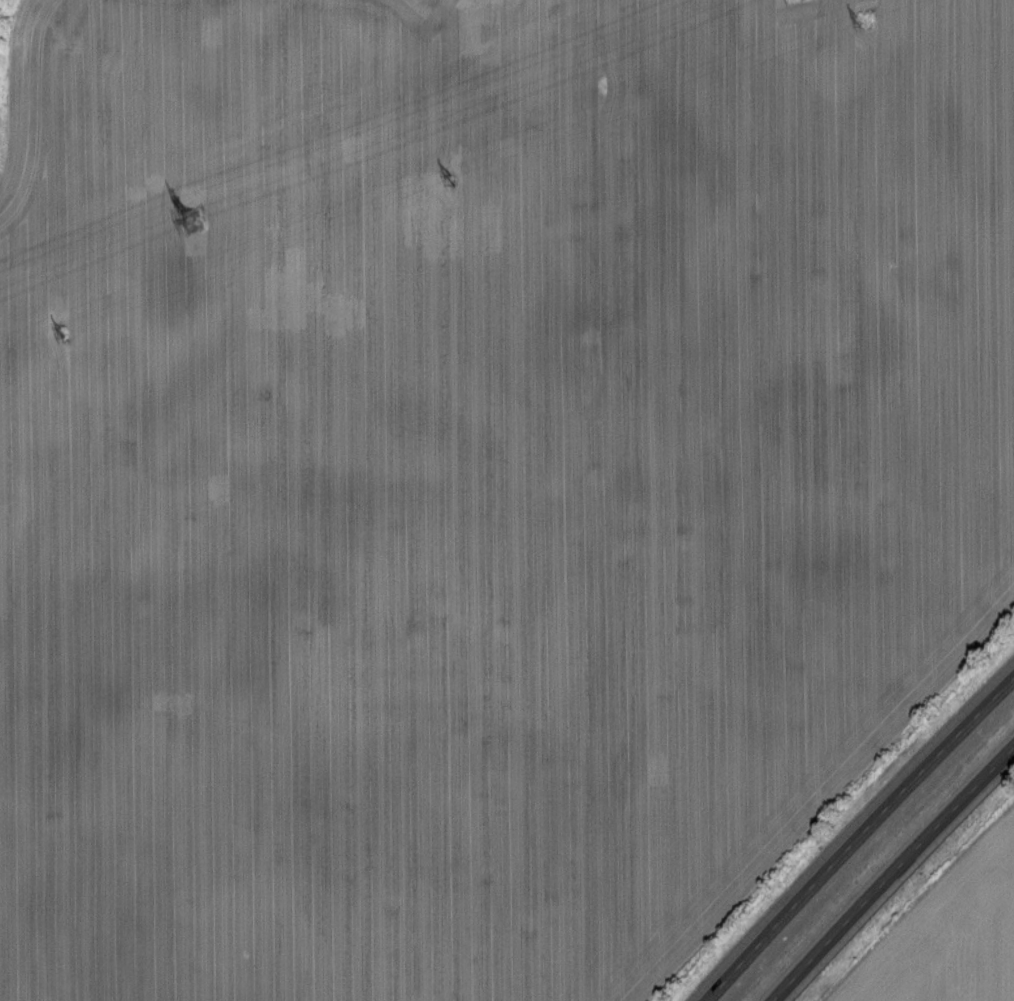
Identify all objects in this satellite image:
power tower: (194, 221)
road: (857, 836)
road: (892, 873)

